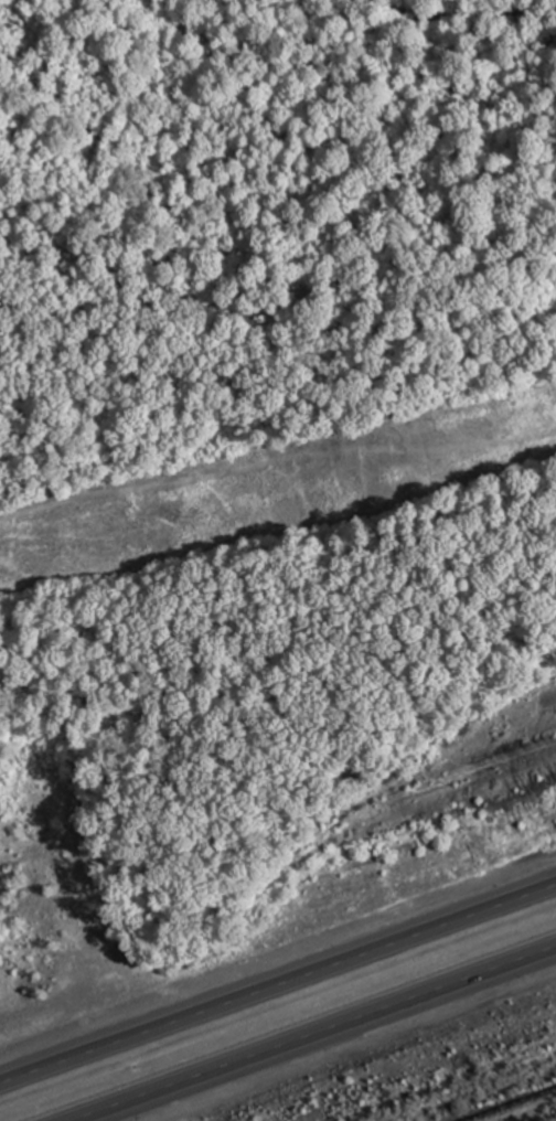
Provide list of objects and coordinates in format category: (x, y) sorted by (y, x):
road: (278, 980)
road: (320, 1036)

